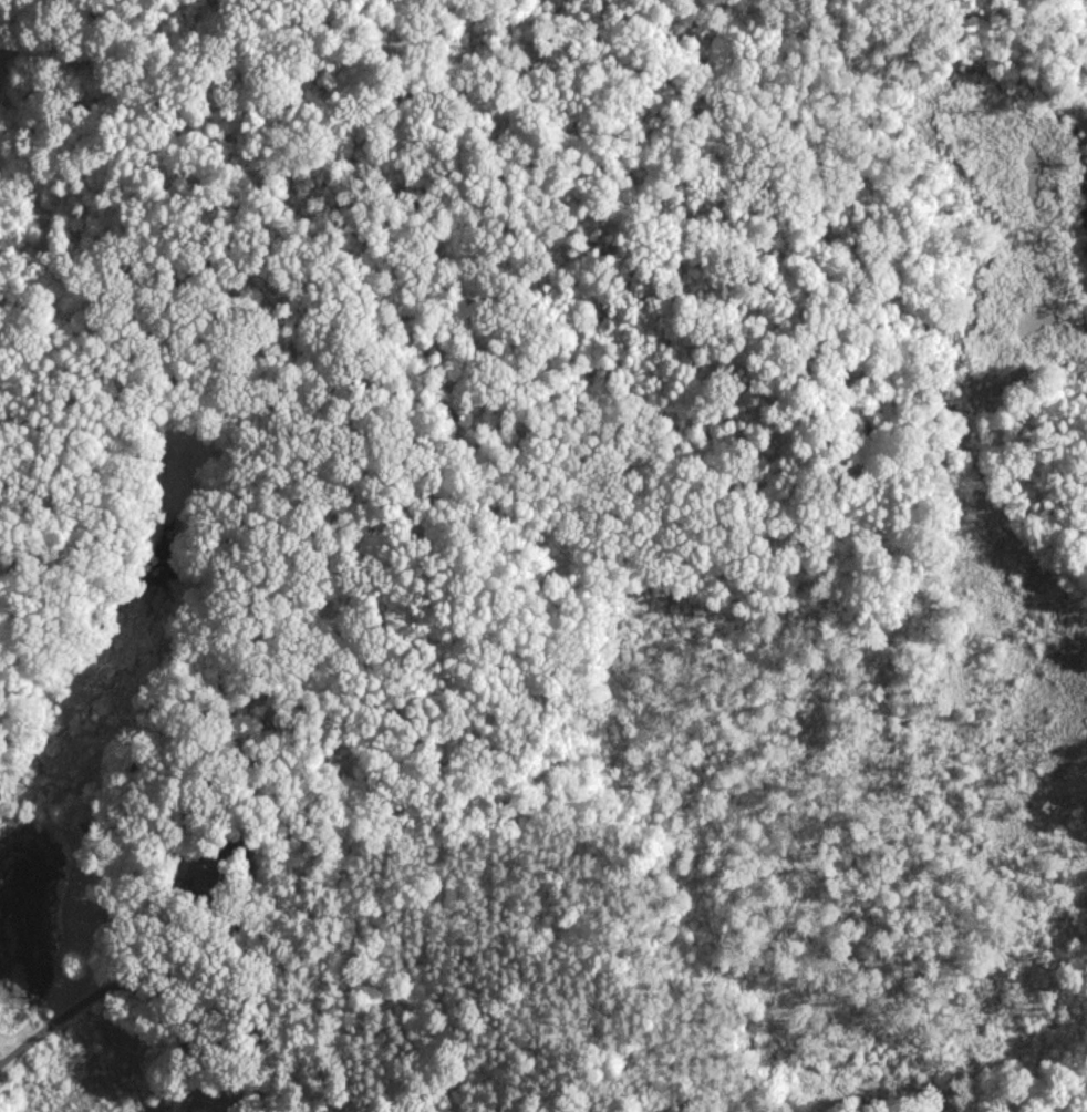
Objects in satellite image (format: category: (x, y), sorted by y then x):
road: (246, 902)
road: (56, 1022)

